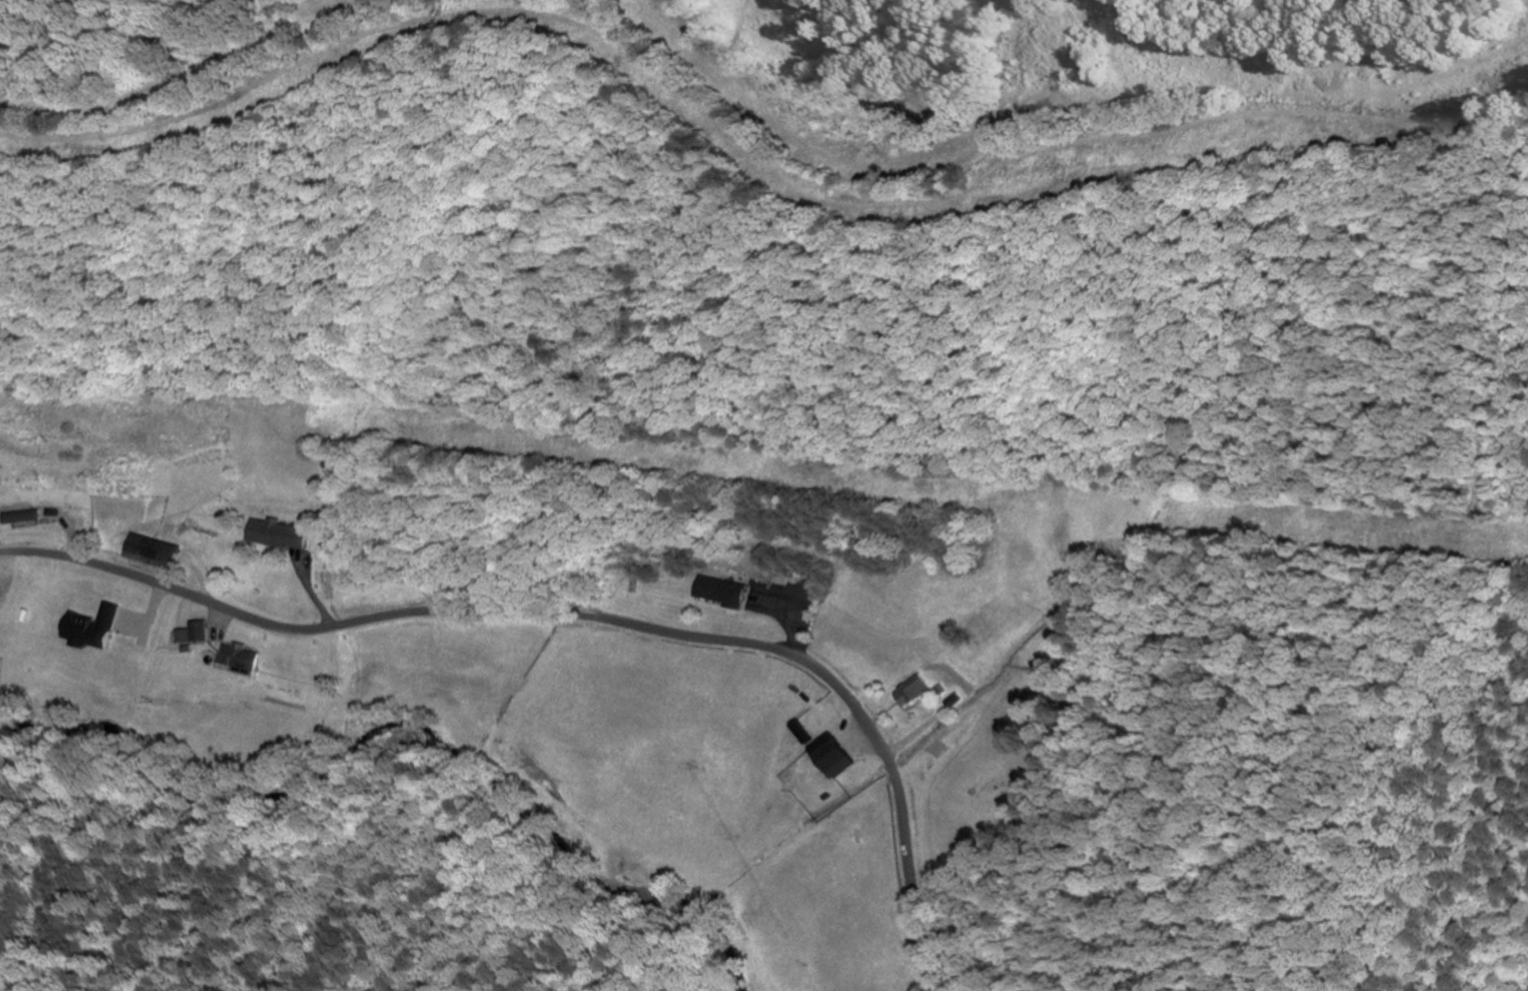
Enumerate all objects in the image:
building: (19, 517)
building: (278, 535)
building: (151, 552)
building: (721, 592)
building: (802, 593)
road: (579, 617)
building: (912, 691)
building: (831, 756)

